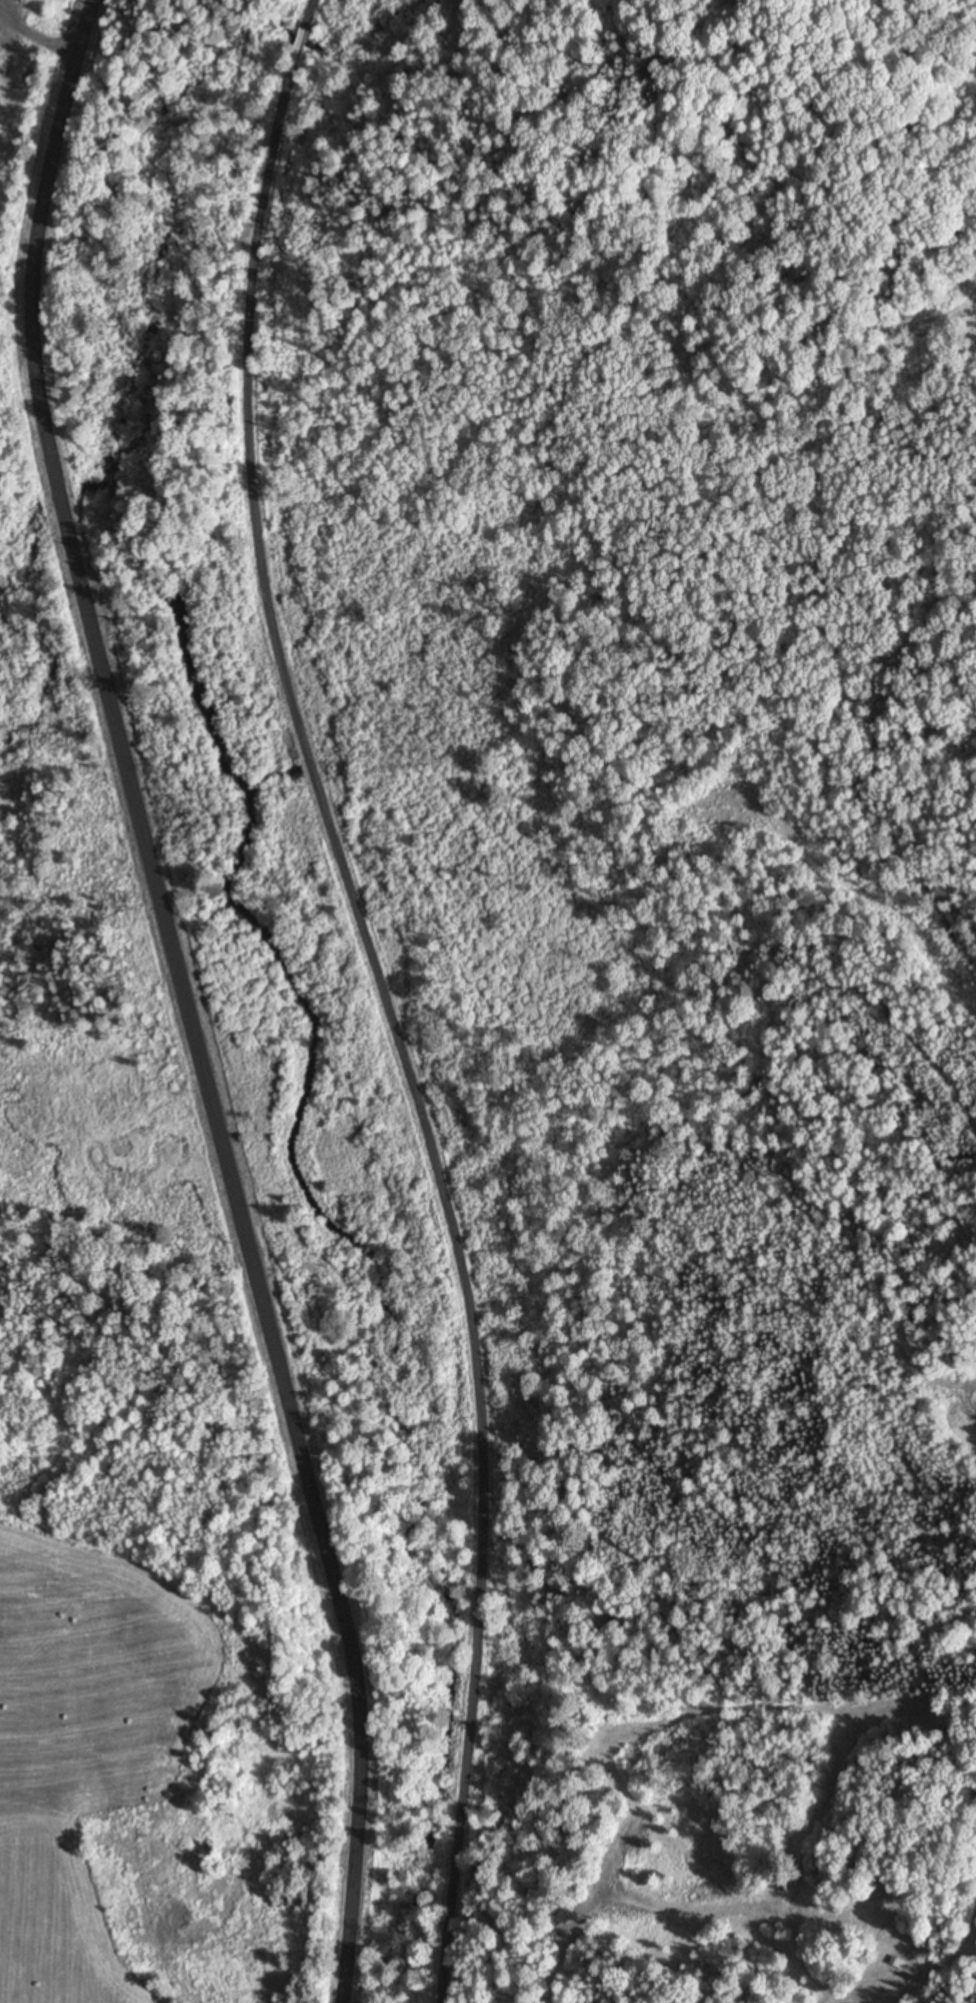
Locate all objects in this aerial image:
road: (310, 14)
road: (17, 33)
road: (301, 38)
road: (167, 1007)
road: (397, 1019)
building: (907, 1967)

